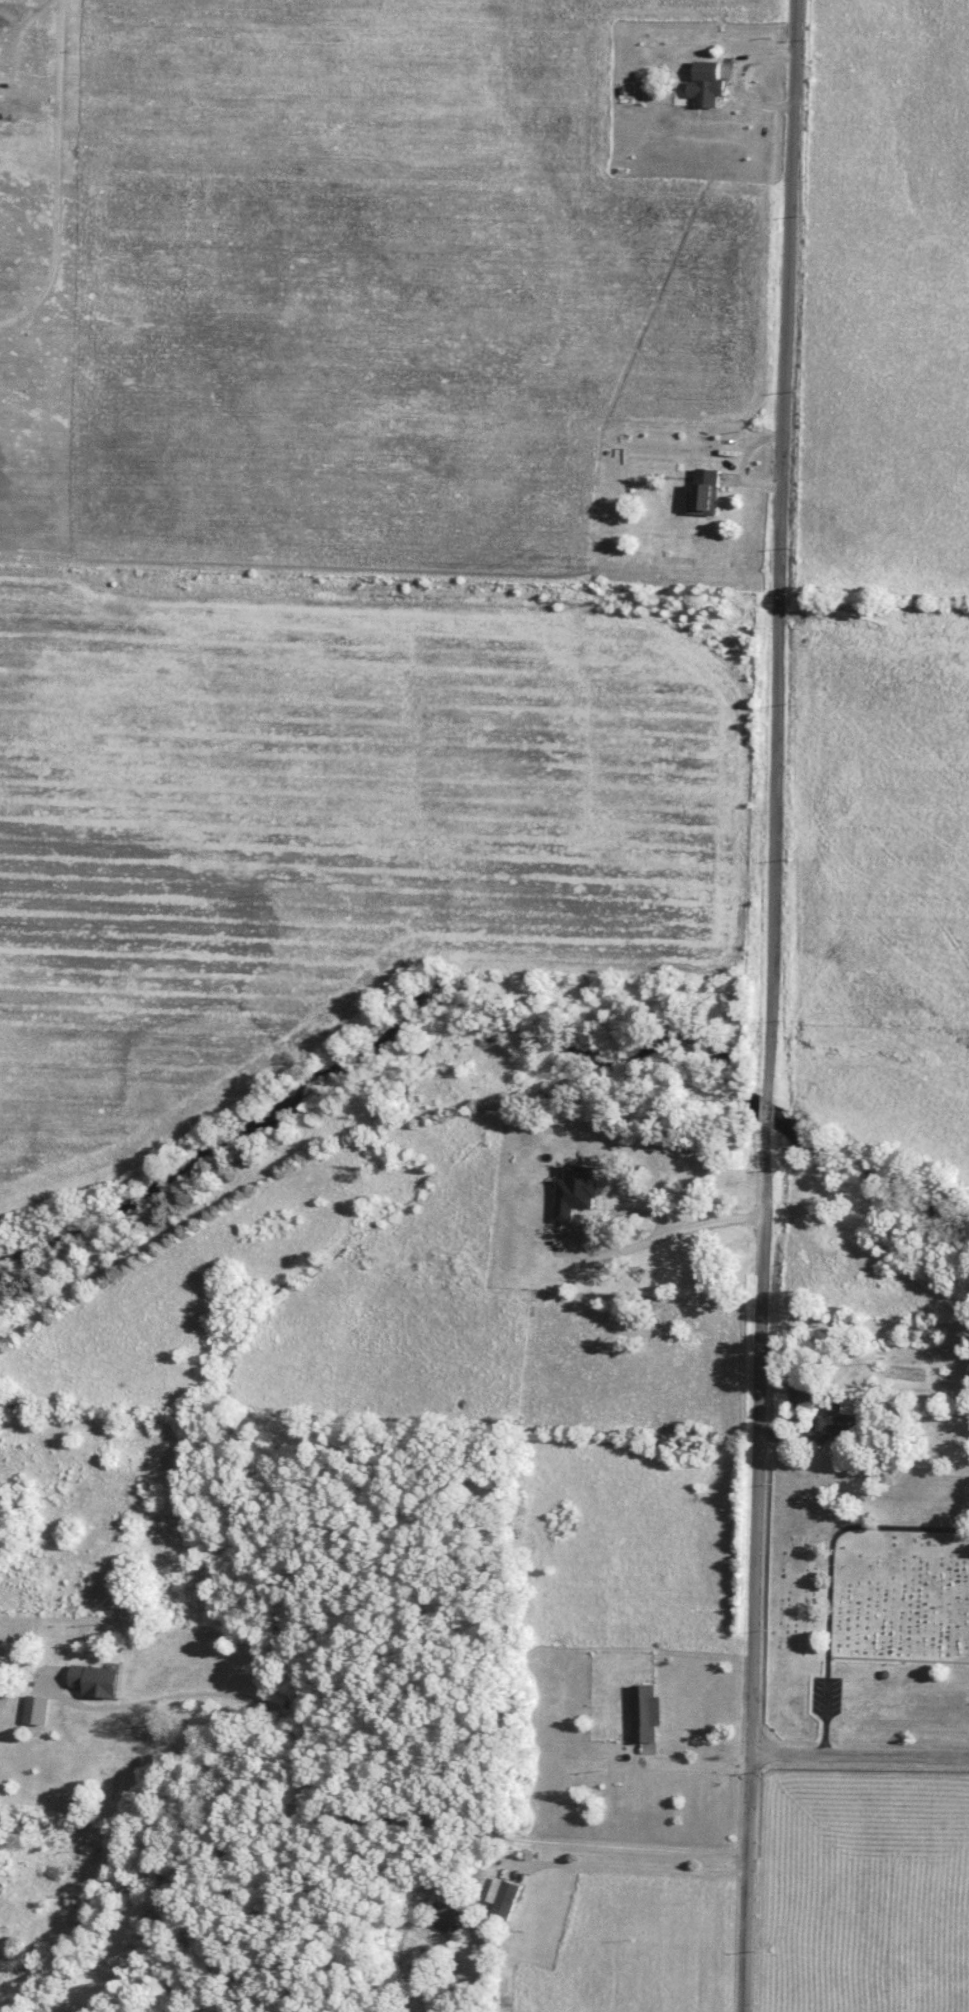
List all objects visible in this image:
road: (15, 57)
road: (717, 75)
building: (709, 83)
road: (56, 173)
road: (1, 324)
road: (1, 326)
building: (708, 491)
road: (769, 1006)
road: (688, 1220)
building: (589, 1298)
building: (674, 1332)
building: (805, 1394)
building: (840, 1423)
building: (138, 1669)
building: (38, 1708)
building: (646, 1712)
road: (859, 1758)
road: (683, 1771)
road: (624, 1868)
building: (503, 1897)
building: (447, 1917)

